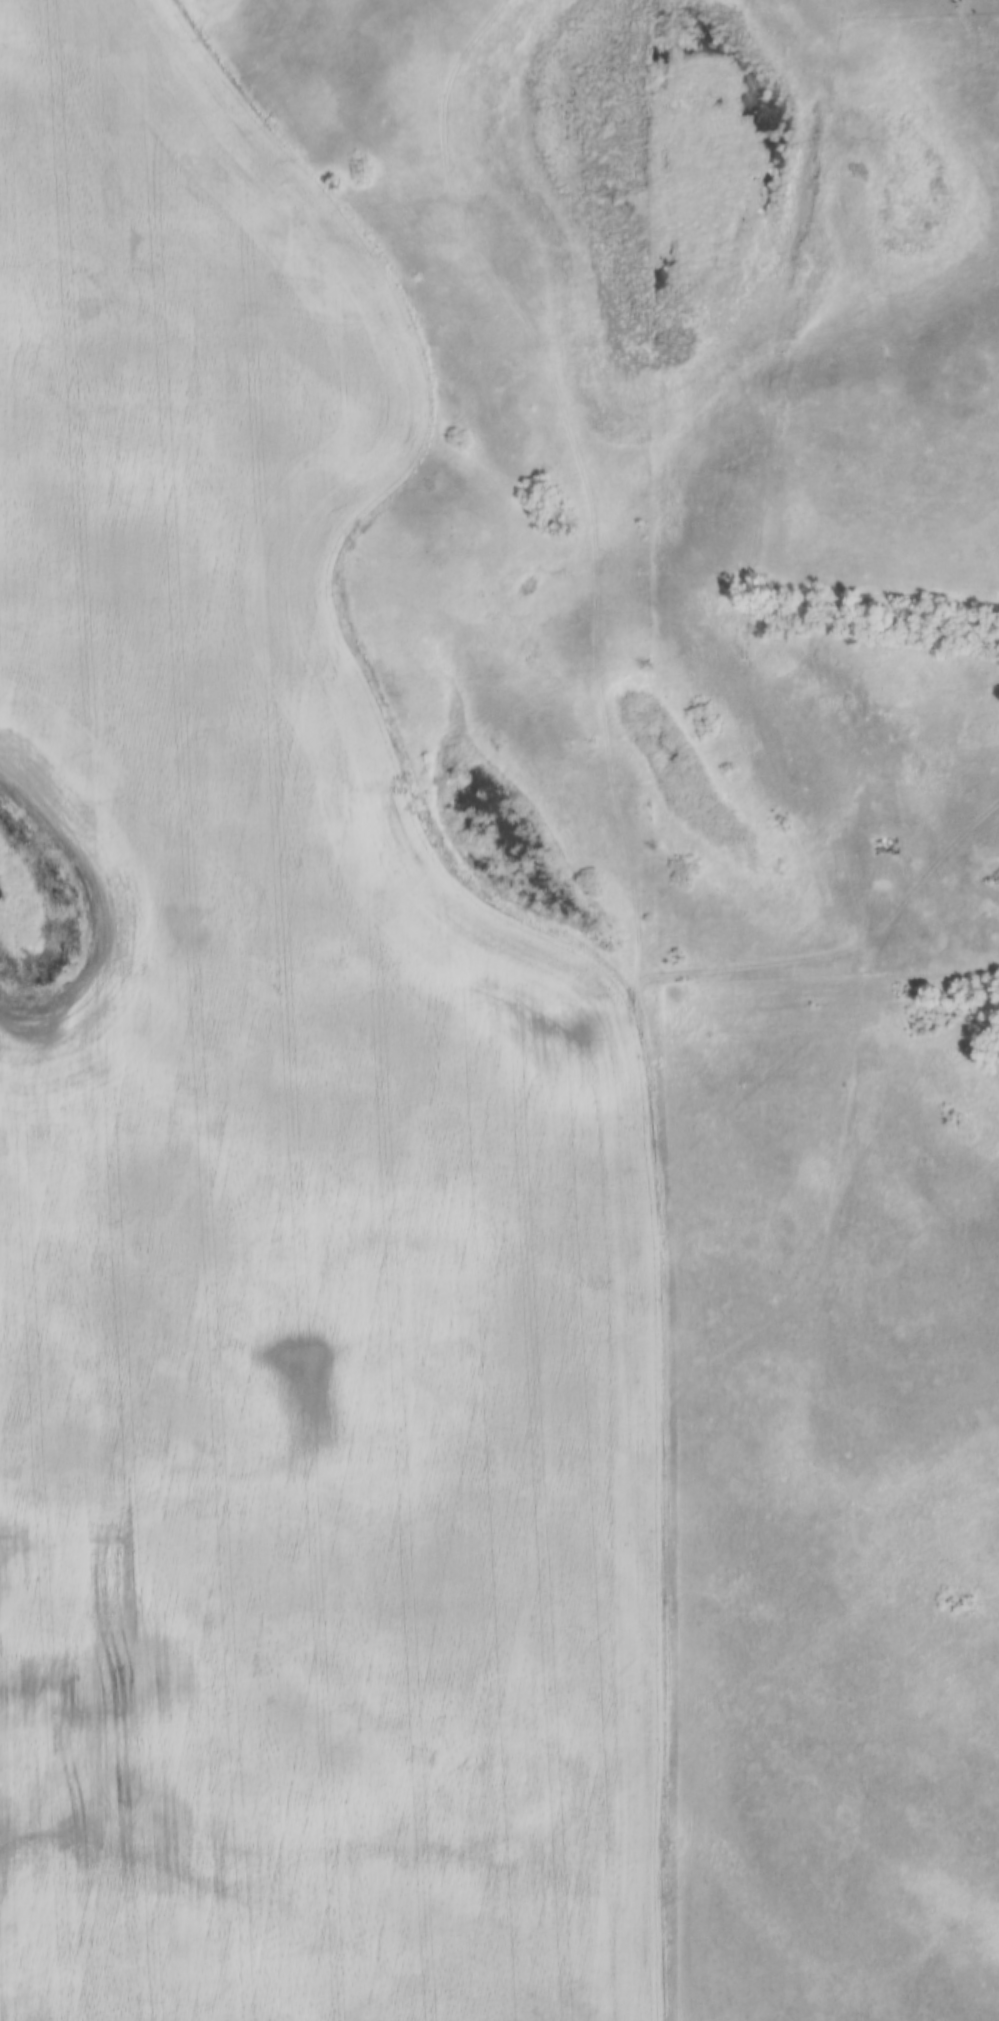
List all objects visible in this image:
road: (655, 1528)

